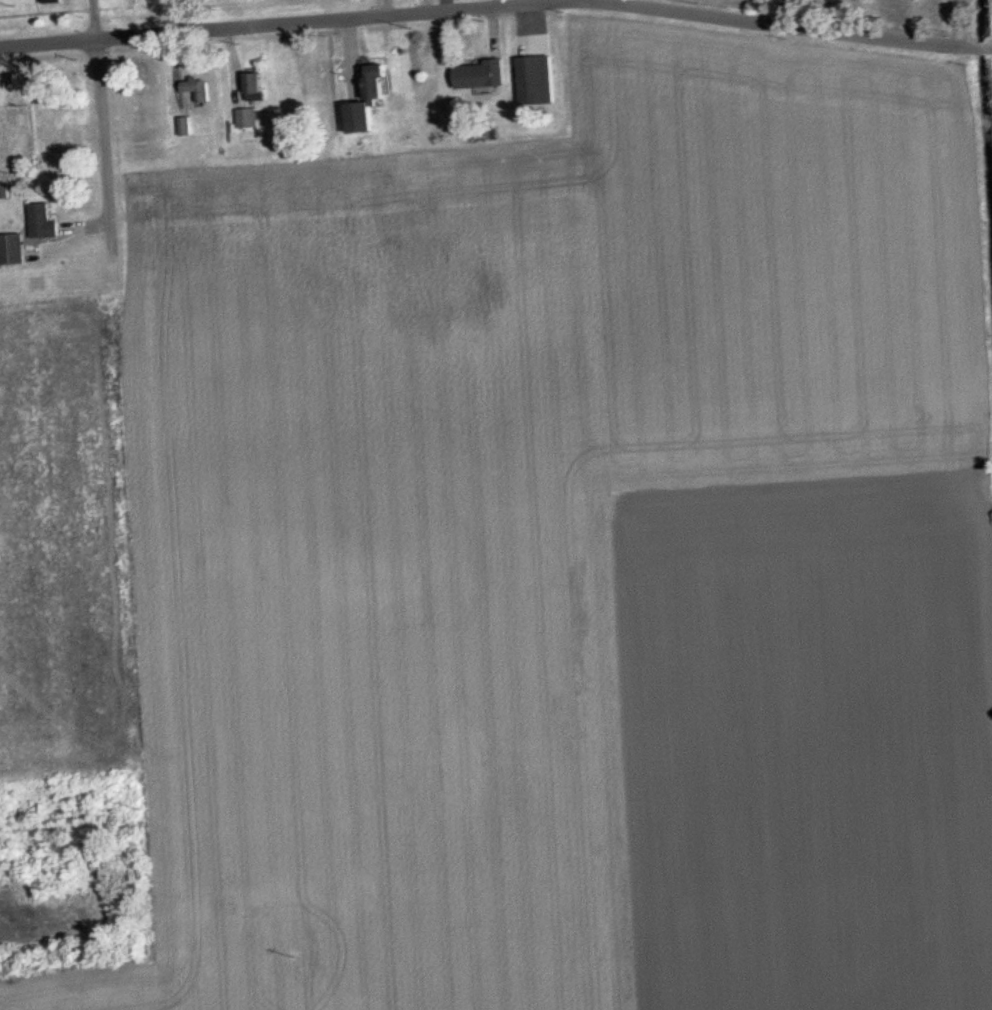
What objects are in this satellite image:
building: (53, 1)
road: (579, 1)
road: (496, 8)
building: (533, 73)
building: (486, 75)
building: (257, 87)
building: (199, 90)
building: (375, 101)
building: (249, 119)
building: (186, 127)
road: (105, 148)
building: (45, 222)
building: (14, 250)

